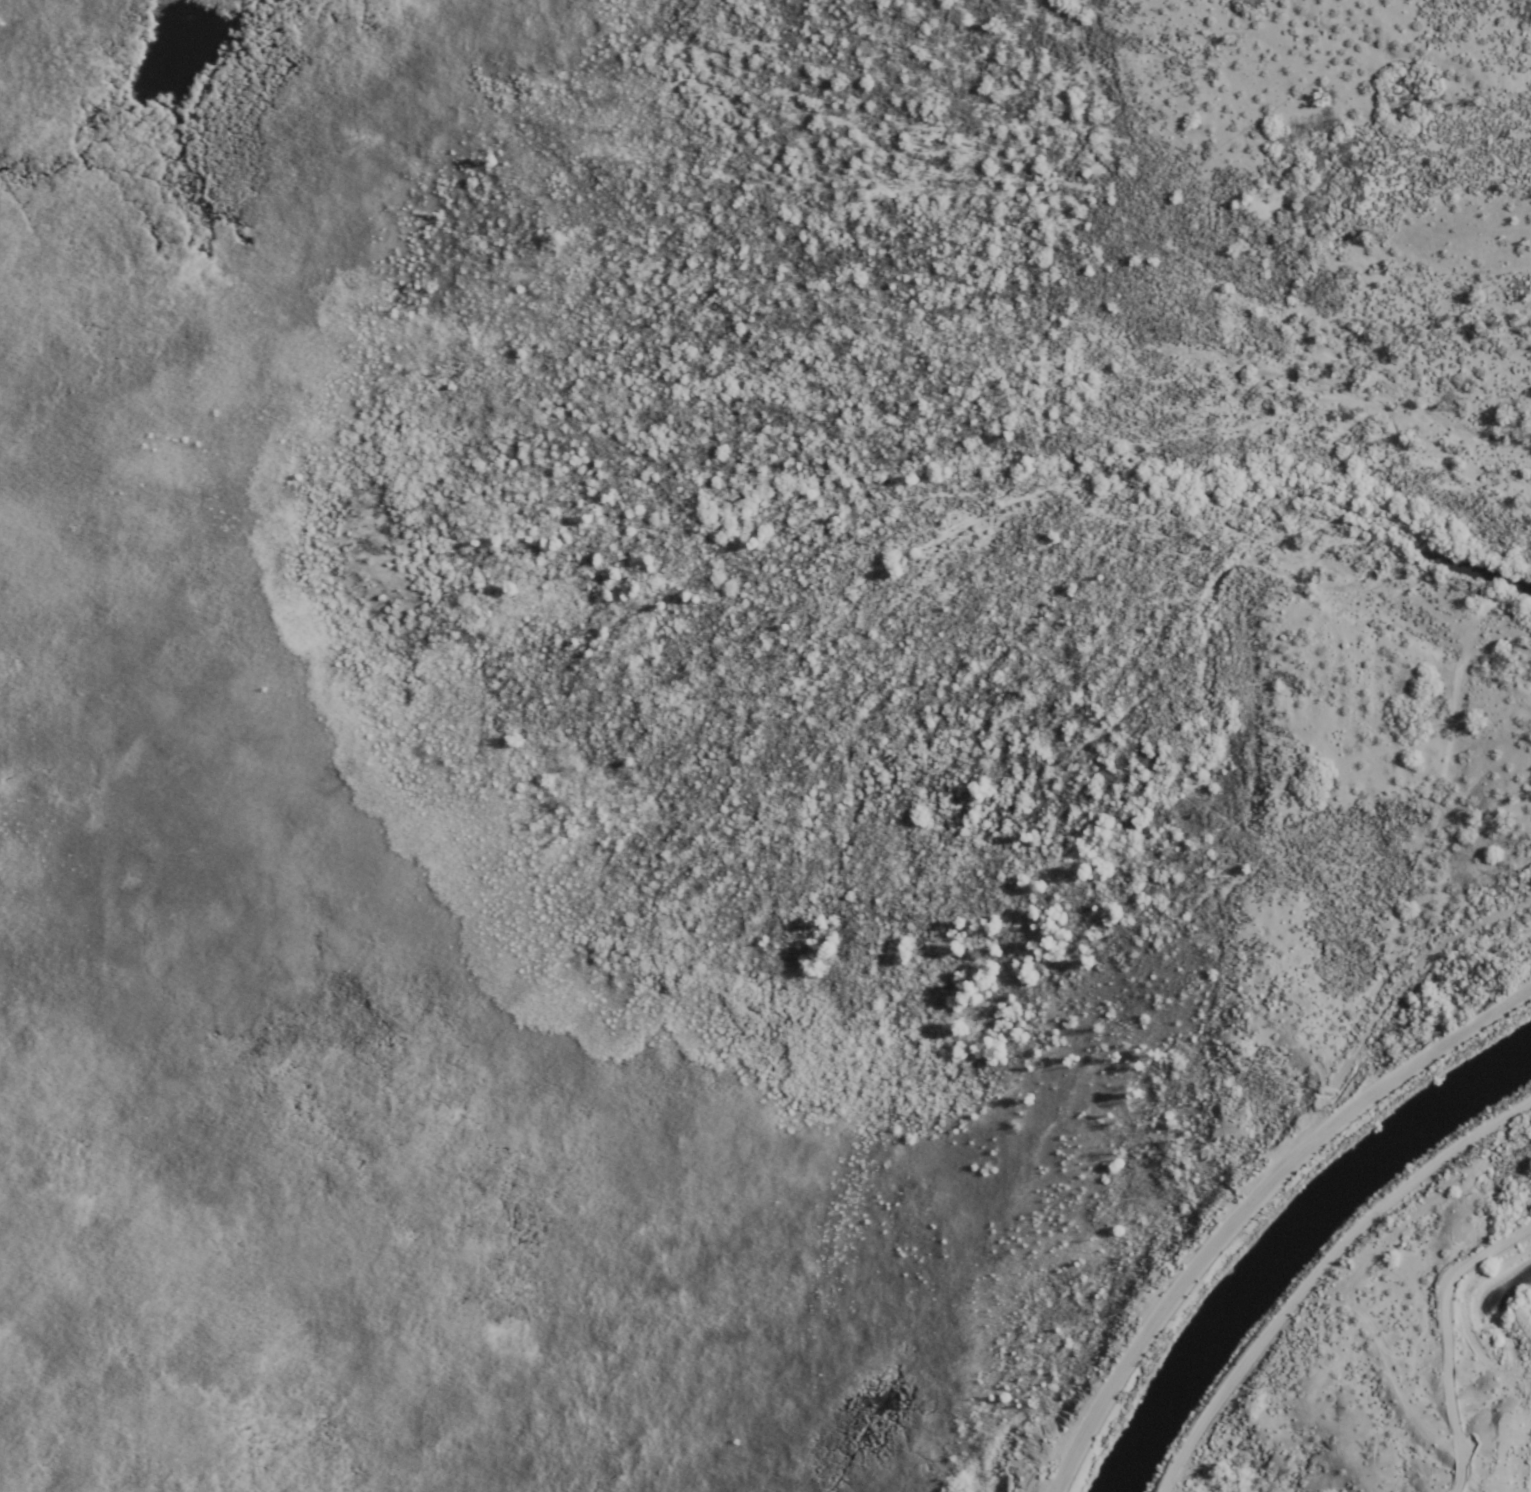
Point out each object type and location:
road: (1254, 1204)
river: (1293, 1242)

